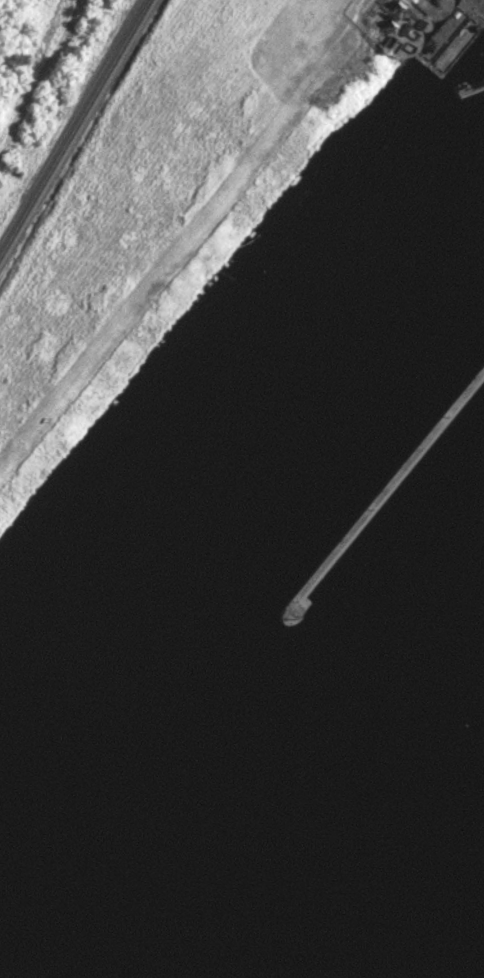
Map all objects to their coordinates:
railway: (78, 130)
river: (229, 605)
river: (398, 900)

